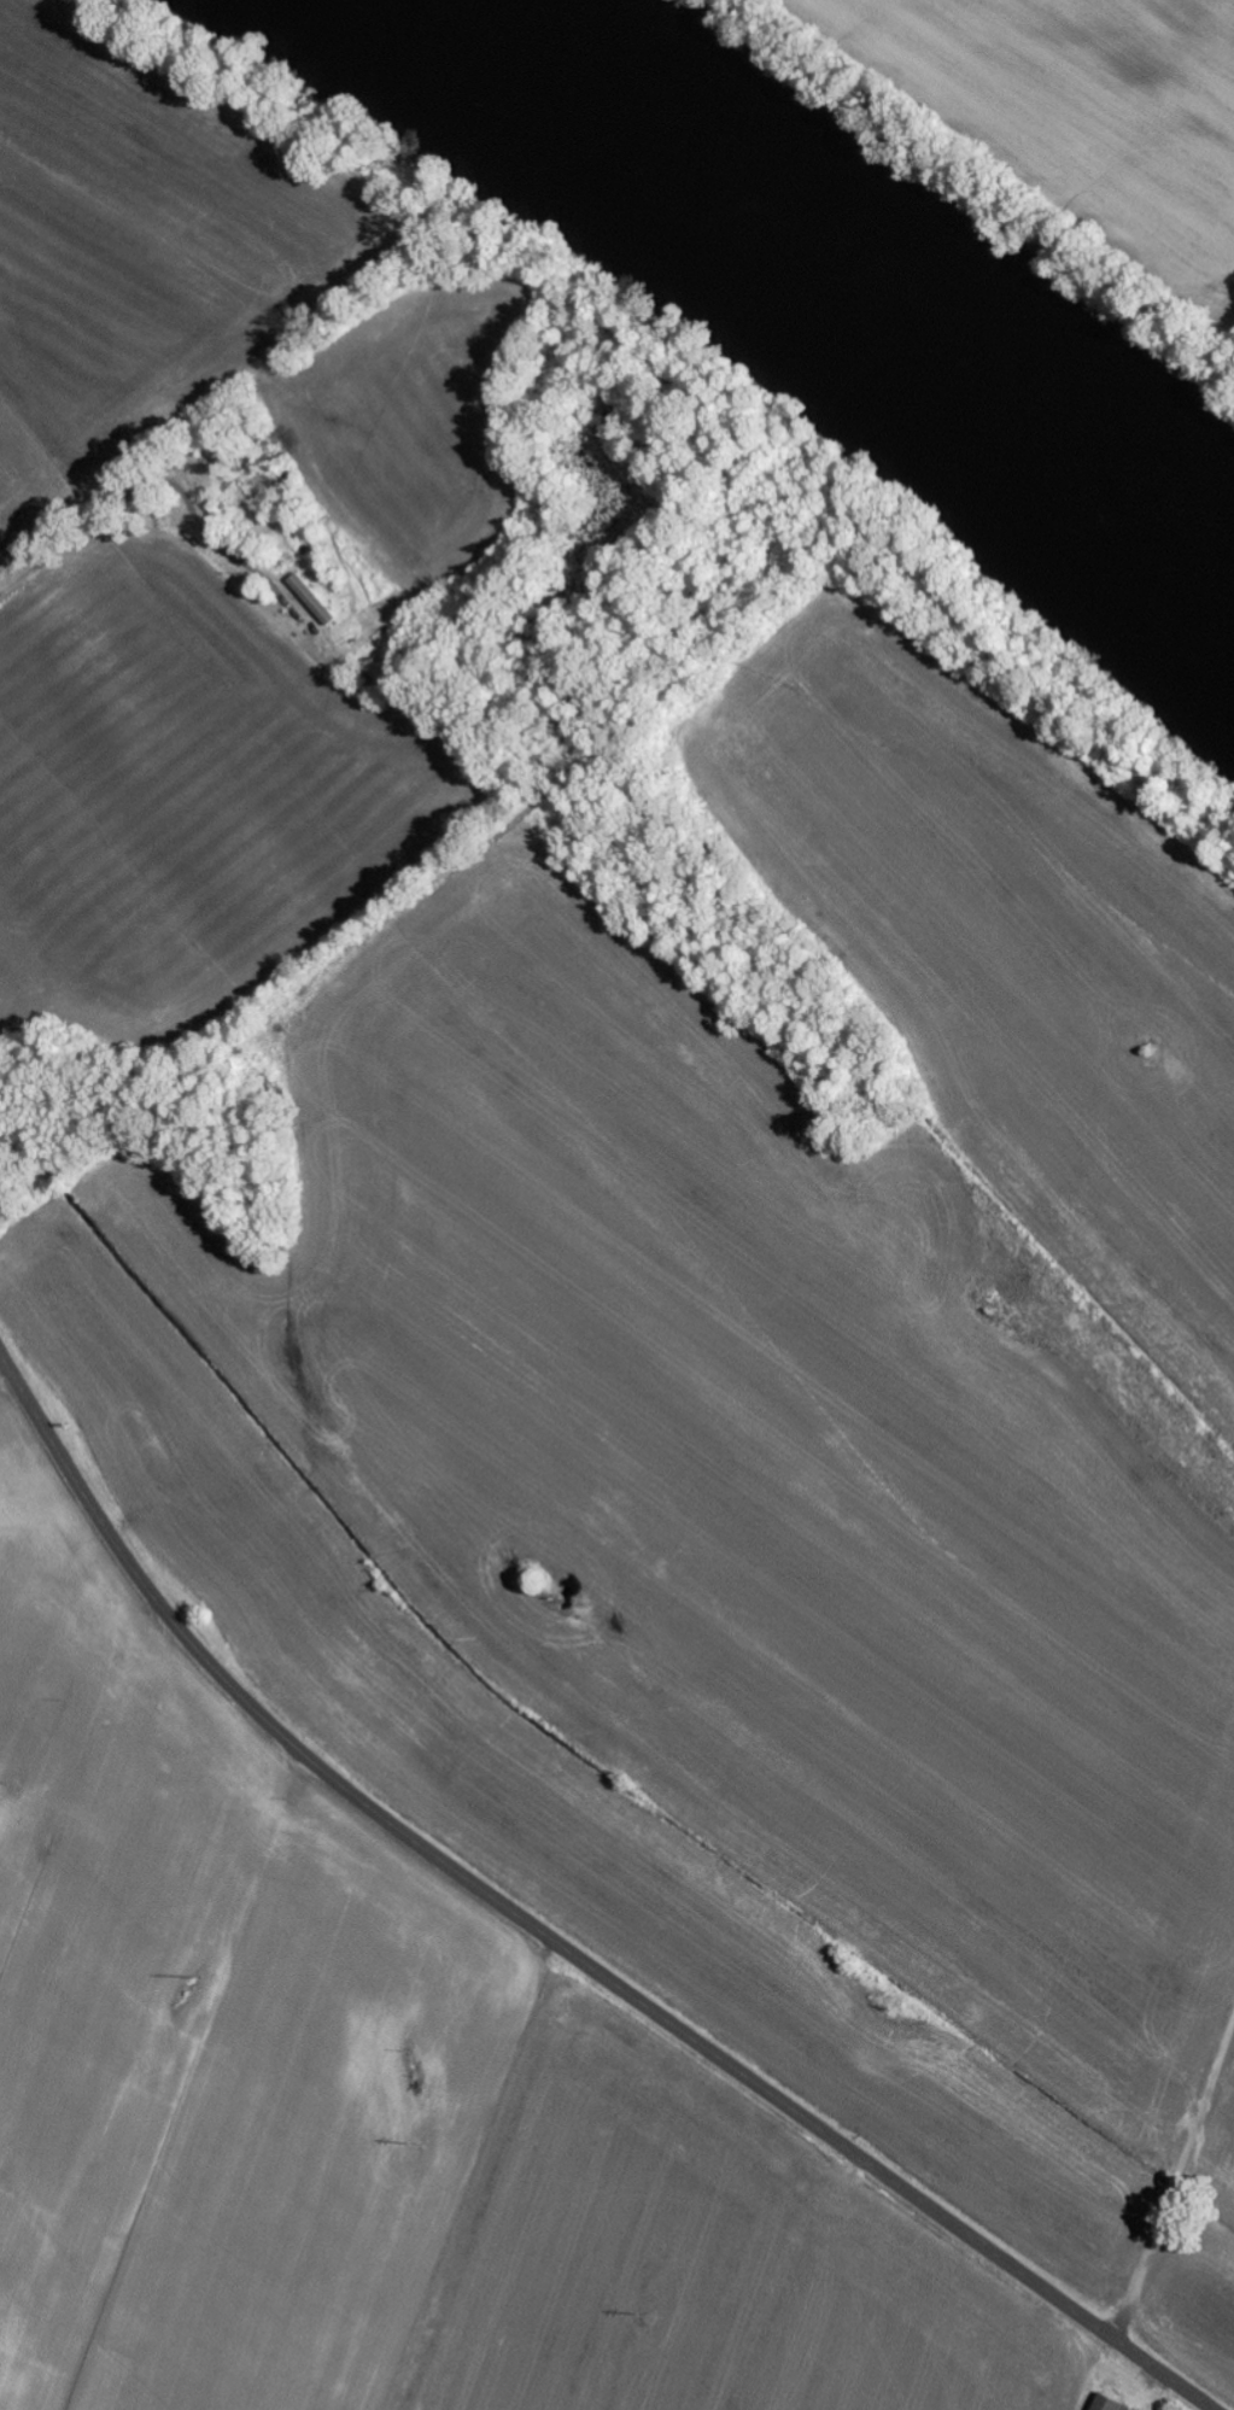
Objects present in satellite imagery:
river: (842, 279)
road: (345, 710)
road: (550, 1938)
building: (1107, 2403)

